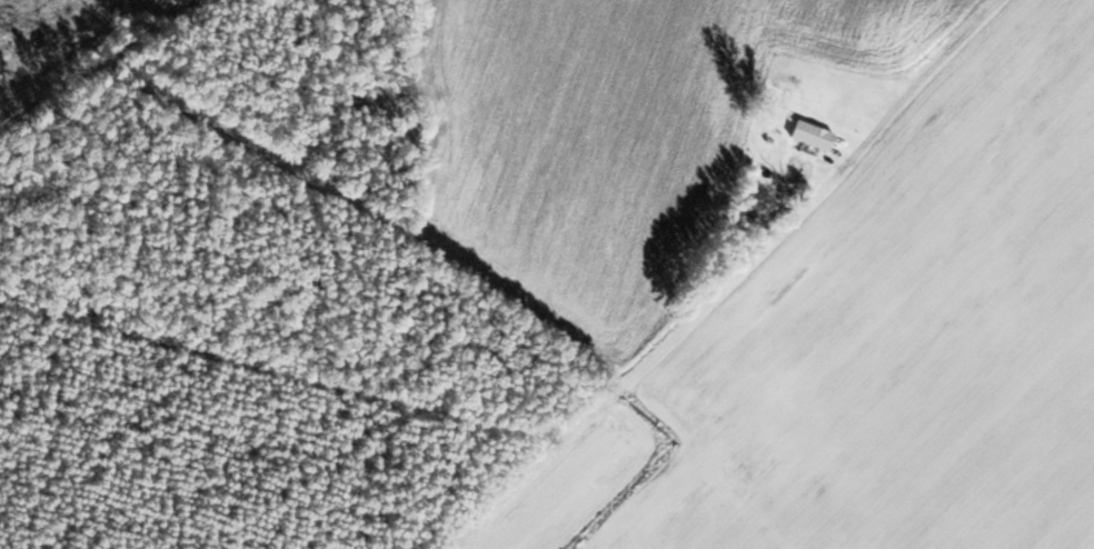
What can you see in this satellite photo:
building: (810, 136)
building: (799, 173)

